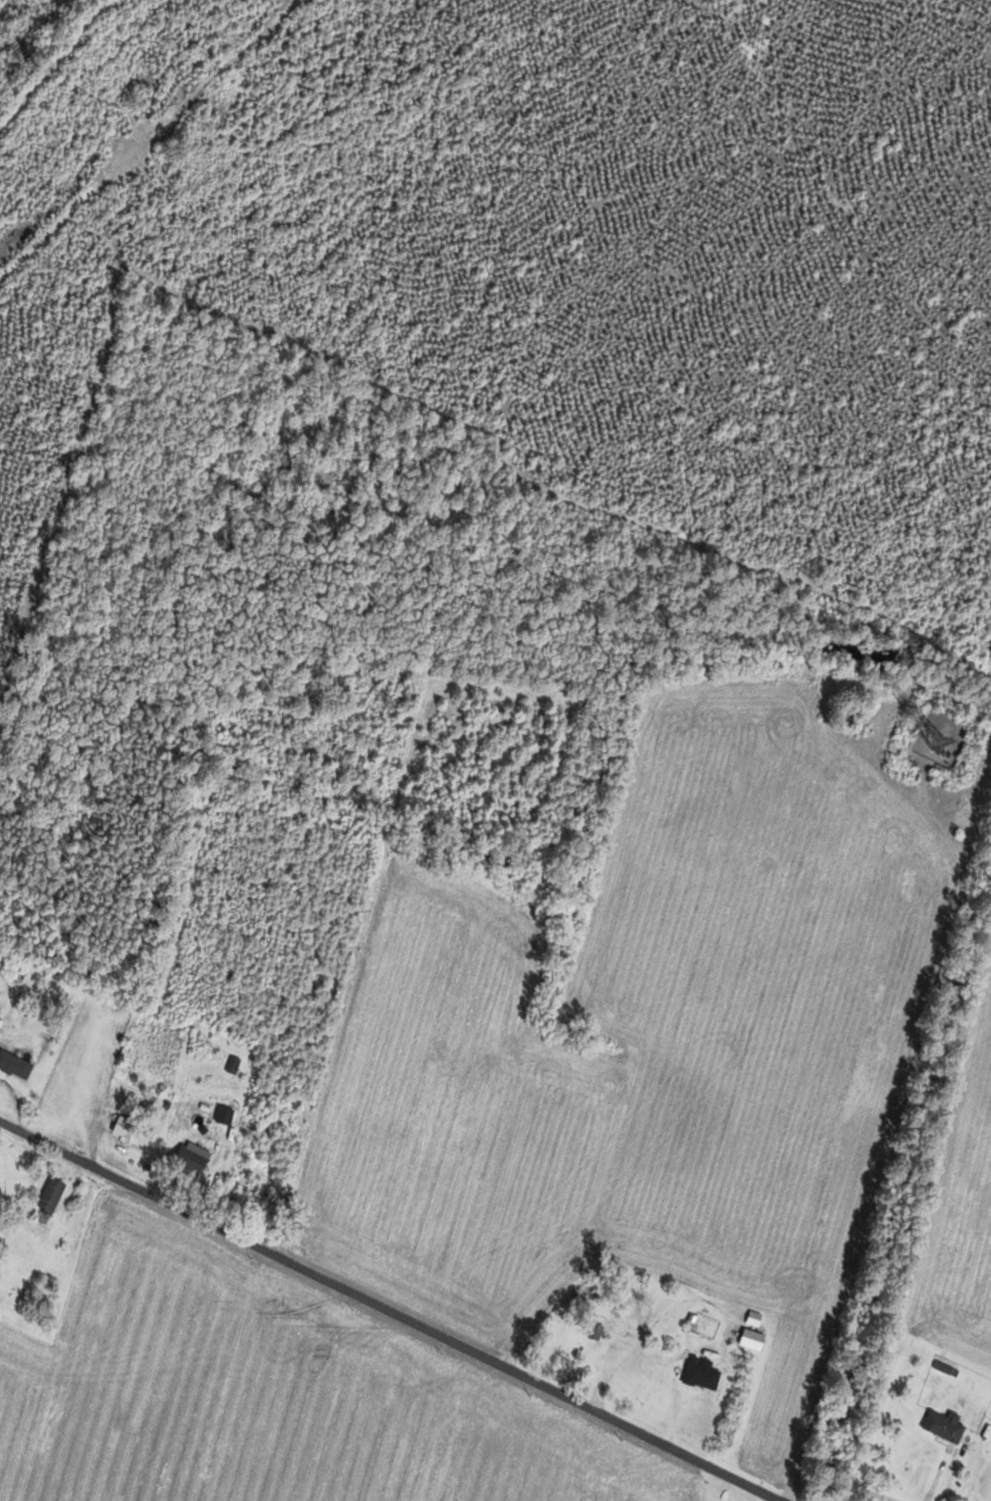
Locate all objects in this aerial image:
building: (15, 1064)
building: (134, 1131)
building: (192, 1158)
building: (51, 1197)
road: (389, 1310)
building: (702, 1375)
road: (817, 1392)
building: (944, 1425)

